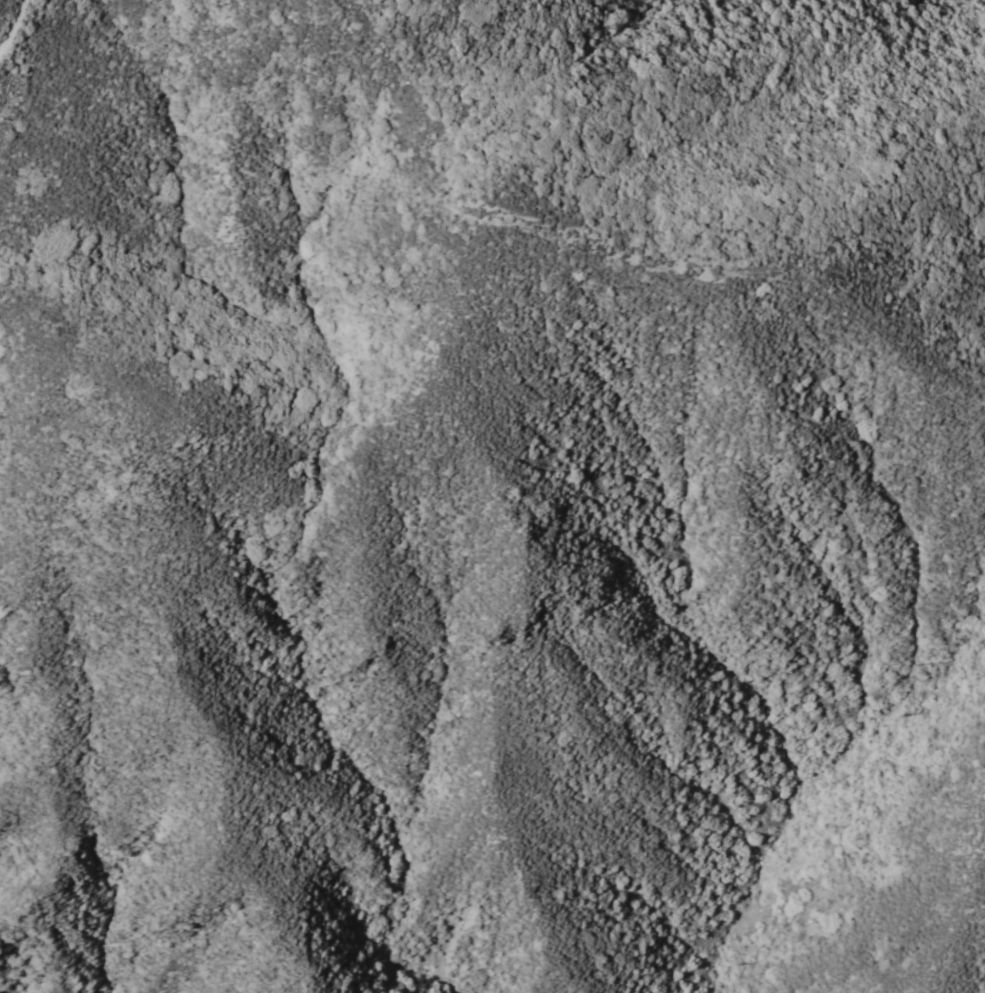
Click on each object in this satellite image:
road: (17, 27)

